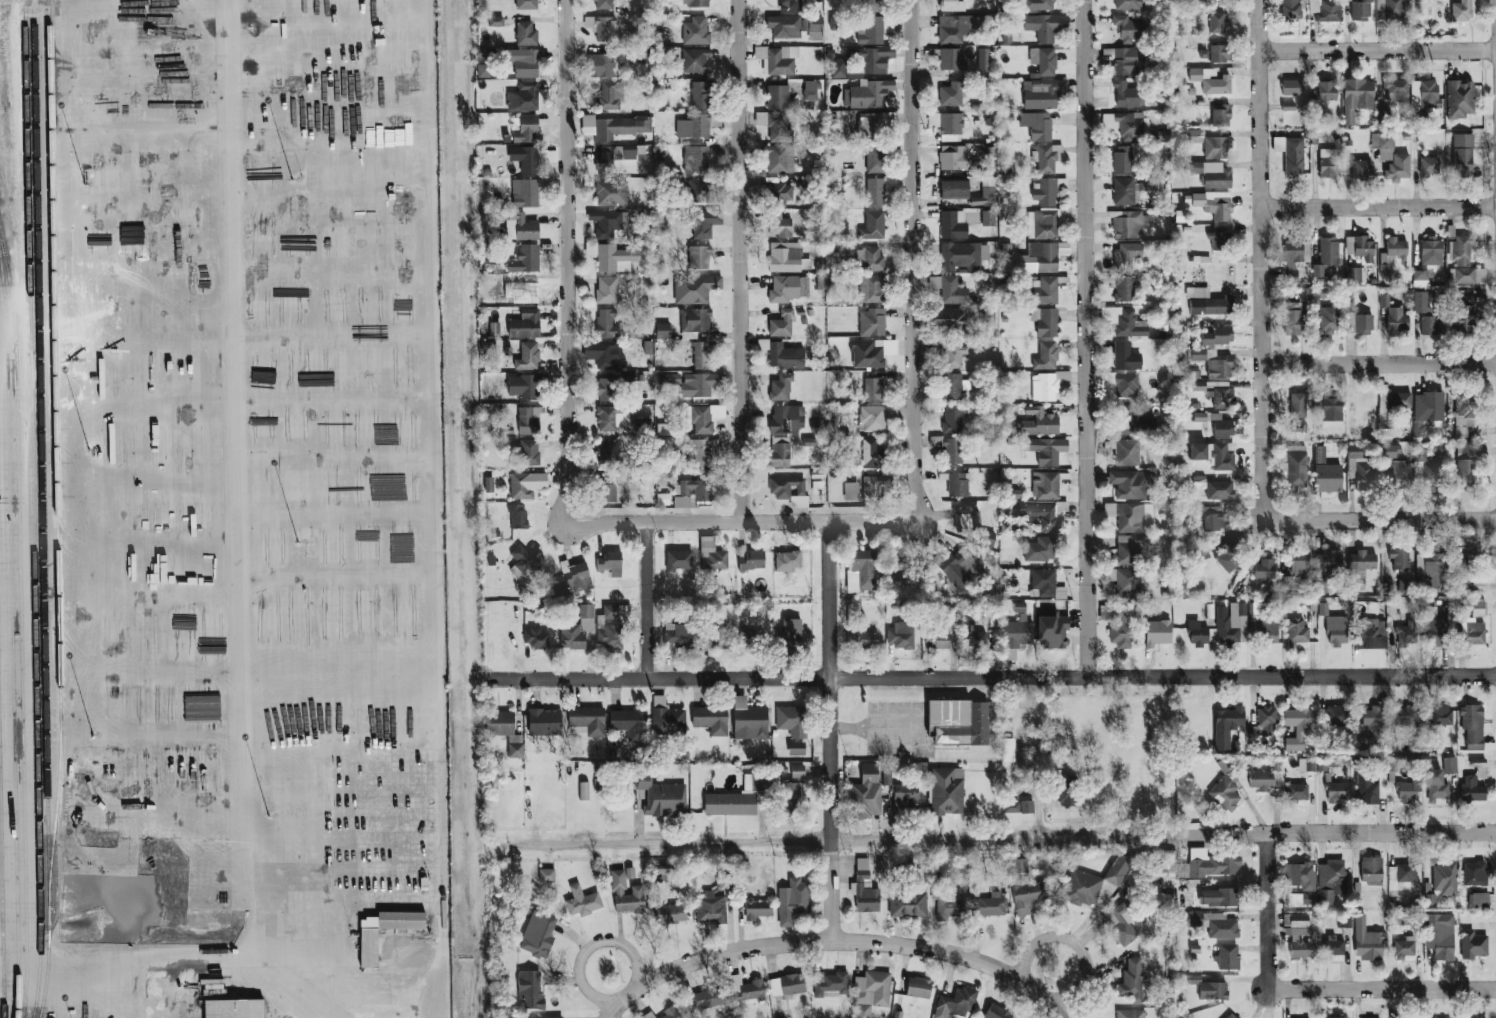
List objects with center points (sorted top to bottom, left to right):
building: (694, 3)
building: (526, 4)
building: (603, 4)
building: (1037, 4)
building: (1128, 4)
building: (790, 5)
building: (868, 5)
building: (951, 5)
building: (1390, 8)
building: (1194, 10)
building: (1360, 10)
building: (1461, 10)
building: (1328, 11)
building: (495, 21)
building: (1217, 22)
building: (784, 26)
building: (1045, 26)
building: (602, 27)
building: (812, 27)
building: (958, 27)
building: (1128, 28)
building: (695, 30)
building: (870, 30)
building: (525, 33)
road: (1376, 50)
building: (481, 52)
building: (1219, 53)
building: (951, 58)
building: (983, 58)
building: (695, 60)
building: (781, 60)
building: (1043, 60)
building: (522, 61)
building: (1123, 61)
building: (601, 65)
building: (837, 68)
building: (483, 70)
building: (868, 77)
building: (1210, 80)
building: (1291, 87)
building: (809, 90)
building: (1327, 90)
building: (1396, 91)
building: (1042, 93)
building: (951, 94)
building: (1424, 94)
building: (610, 95)
building: (699, 95)
building: (1125, 95)
building: (523, 97)
building: (777, 97)
building: (1356, 97)
building: (1459, 98)
building: (1287, 106)
building: (1220, 116)
building: (760, 119)
building: (1126, 124)
building: (868, 125)
building: (948, 125)
building: (1037, 125)
building: (693, 126)
building: (613, 127)
building: (777, 127)
building: (524, 128)
building: (1193, 136)
railway: (27, 142)
building: (1216, 147)
building: (1290, 154)
building: (1462, 154)
building: (1391, 156)
building: (779, 158)
building: (953, 158)
building: (1045, 158)
building: (875, 159)
building: (1122, 159)
building: (527, 160)
building: (696, 160)
building: (1328, 162)
building: (1428, 166)
building: (1361, 169)
building: (1211, 174)
building: (878, 189)
building: (954, 189)
building: (700, 190)
building: (1126, 191)
building: (611, 192)
building: (1045, 192)
building: (524, 193)
building: (985, 193)
building: (778, 194)
building: (1213, 204)
road: (1376, 207)
building: (988, 218)
building: (608, 222)
building: (705, 222)
building: (953, 224)
building: (1041, 224)
building: (1129, 224)
building: (778, 225)
building: (873, 225)
building: (521, 227)
building: (1219, 241)
building: (1359, 247)
building: (1395, 248)
building: (1461, 248)
building: (1430, 252)
building: (963, 255)
building: (1126, 255)
building: (1326, 255)
building: (1294, 256)
building: (620, 257)
building: (698, 257)
building: (784, 258)
building: (1037, 258)
building: (525, 259)
road: (741, 260)
building: (869, 260)
road: (1258, 260)
road: (914, 263)
road: (568, 264)
building: (1354, 274)
building: (1465, 275)
building: (1419, 276)
building: (695, 288)
building: (871, 288)
building: (1125, 288)
building: (783, 289)
building: (949, 289)
building: (606, 290)
building: (1045, 291)
building: (1328, 291)
building: (1197, 292)
building: (1305, 294)
building: (1384, 300)
building: (1420, 302)
road: (244, 306)
building: (1211, 306)
road: (33, 309)
building: (1463, 314)
building: (989, 315)
building: (1328, 319)
building: (950, 320)
building: (1045, 321)
building: (1124, 321)
building: (1396, 321)
building: (694, 322)
building: (872, 322)
building: (1292, 322)
building: (605, 323)
building: (524, 324)
building: (781, 324)
building: (1363, 324)
building: (1430, 325)
building: (494, 328)
building: (662, 331)
building: (1217, 336)
road: (1084, 338)
building: (872, 352)
building: (602, 353)
building: (953, 353)
building: (1198, 354)
building: (701, 355)
building: (785, 355)
building: (1046, 355)
building: (527, 356)
building: (1125, 356)
road: (1377, 363)
building: (1219, 367)
building: (845, 377)
road: (47, 382)
building: (693, 383)
building: (953, 385)
building: (1047, 385)
building: (1126, 385)
building: (1199, 385)
building: (523, 386)
building: (780, 388)
building: (605, 389)
building: (872, 389)
building: (1223, 397)
building: (1297, 404)
building: (1391, 405)
building: (1331, 406)
building: (1427, 409)
building: (1463, 410)
building: (890, 411)
building: (611, 417)
building: (703, 417)
building: (872, 417)
building: (787, 418)
building: (953, 419)
building: (528, 420)
building: (1128, 421)
building: (1038, 422)
building: (1222, 427)
building: (1045, 449)
building: (952, 450)
building: (780, 451)
building: (1127, 451)
building: (1198, 451)
railway: (41, 452)
building: (531, 452)
building: (703, 452)
building: (608, 453)
building: (872, 453)
building: (1319, 454)
building: (1222, 457)
building: (1282, 461)
building: (1464, 465)
building: (1296, 467)
building: (1395, 467)
building: (1429, 469)
building: (1360, 471)
building: (1330, 480)
building: (1199, 481)
road: (68, 482)
building: (1130, 483)
building: (488, 484)
building: (526, 484)
building: (958, 484)
building: (1045, 485)
building: (786, 487)
building: (872, 487)
building: (1219, 490)
building: (850, 491)
building: (691, 492)
building: (608, 493)
building: (798, 501)
building: (1012, 506)
railway: (56, 509)
road: (426, 509)
building: (1044, 515)
building: (1130, 515)
building: (517, 517)
building: (1212, 518)
building: (966, 519)
road: (1378, 520)
road: (740, 521)
road: (236, 534)
building: (986, 538)
building: (1040, 549)
building: (1128, 549)
building: (711, 554)
building: (1230, 555)
building: (1399, 558)
building: (679, 559)
building: (751, 559)
building: (525, 560)
building: (787, 560)
building: (1465, 560)
building: (610, 563)
building: (1298, 563)
building: (1327, 564)
building: (1431, 567)
building: (959, 568)
building: (1359, 568)
building: (1264, 570)
building: (861, 571)
building: (903, 572)
building: (577, 577)
building: (1125, 580)
building: (1046, 583)
road: (646, 600)
building: (1019, 606)
building: (949, 608)
building: (1256, 608)
building: (1478, 608)
building: (1322, 609)
building: (616, 612)
building: (1232, 622)
railway: (20, 627)
building: (1122, 627)
building: (577, 629)
building: (791, 630)
building: (1269, 630)
building: (1296, 630)
building: (1435, 630)
building: (971, 631)
building: (1052, 631)
building: (1336, 631)
building: (1157, 632)
building: (147, 633)
building: (1017, 633)
building: (1197, 633)
building: (1406, 633)
building: (1370, 634)
building: (1470, 634)
building: (715, 635)
building: (900, 635)
railway: (12, 636)
building: (609, 636)
building: (677, 637)
road: (28, 638)
building: (536, 638)
building: (864, 638)
building: (937, 638)
building: (750, 639)
railway: (35, 651)
building: (1010, 654)
road: (990, 677)
building: (146, 711)
building: (1440, 713)
building: (1337, 715)
building: (1405, 715)
building: (666, 717)
building: (1234, 718)
building: (1371, 718)
building: (544, 719)
building: (711, 719)
building: (587, 720)
building: (749, 720)
building: (791, 721)
building: (959, 721)
building: (1266, 721)
building: (501, 723)
building: (629, 723)
road: (6, 724)
building: (1472, 725)
building: (1299, 726)
road: (876, 727)
road: (829, 730)
building: (796, 748)
building: (1392, 764)
building: (1305, 765)
building: (1449, 765)
building: (797, 771)
building: (886, 776)
building: (1264, 777)
building: (1473, 780)
building: (1435, 786)
building: (1226, 787)
building: (1068, 790)
building: (1368, 790)
building: (1408, 790)
building: (947, 791)
building: (1335, 791)
building: (1296, 792)
building: (866, 793)
building: (904, 795)
building: (661, 796)
building: (738, 798)
building: (790, 799)
building: (1018, 806)
road: (336, 831)
road: (1002, 836)
building: (1371, 869)
building: (1118, 870)
building: (663, 872)
building: (1400, 873)
building: (1474, 873)
building: (546, 875)
building: (1300, 875)
building: (1444, 877)
building: (724, 880)
building: (1330, 880)
building: (864, 888)
building: (1081, 888)
building: (1025, 889)
building: (618, 890)
railway: (2, 892)
building: (1218, 897)
building: (1301, 898)
building: (792, 900)
building: (1479, 900)
building: (582, 901)
building: (907, 903)
building: (989, 905)
building: (950, 907)
building: (710, 908)
building: (757, 909)
road: (1265, 911)
building: (670, 913)
building: (1344, 920)
building: (1121, 924)
building: (1214, 924)
road: (127, 925)
building: (1298, 925)
building: (538, 935)
building: (1439, 935)
road: (833, 939)
building: (1366, 940)
road: (1072, 942)
building: (1473, 945)
building: (1332, 946)
road: (588, 947)
building: (368, 948)
building: (1301, 948)
building: (1404, 948)
building: (1228, 956)
building: (1132, 981)
building: (829, 983)
building: (786, 985)
building: (918, 987)
building: (530, 988)
building: (745, 988)
road: (1380, 989)
building: (1212, 990)
building: (870, 992)
building: (706, 999)
building: (955, 1003)
road: (469, 1007)
building: (233, 1008)
building: (998, 1012)
road: (1058, 1012)
road: (609, 1013)
building: (1130, 1013)
building: (664, 1014)
road: (336, 1016)
building: (1230, 1016)
building: (545, 1017)

